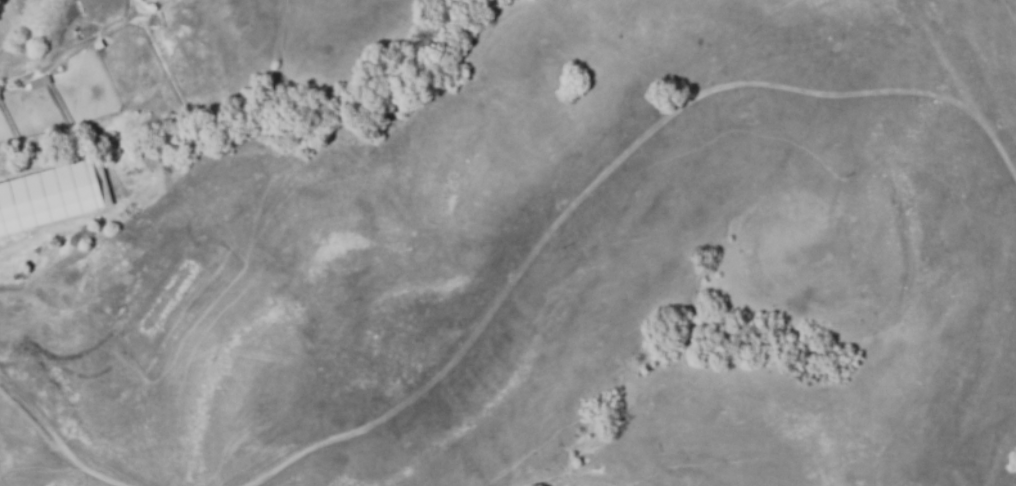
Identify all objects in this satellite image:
building: (151, 21)
building: (85, 32)
building: (97, 45)
building: (39, 81)
building: (52, 194)

